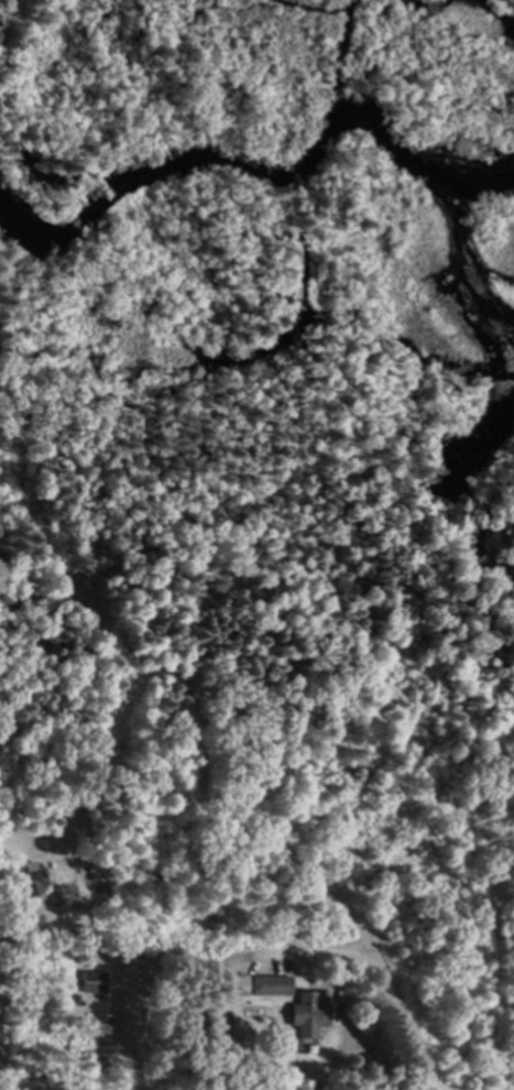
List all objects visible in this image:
river: (266, 181)
road: (280, 850)
building: (33, 875)
building: (232, 977)
building: (266, 977)
building: (273, 984)
building: (304, 1007)

